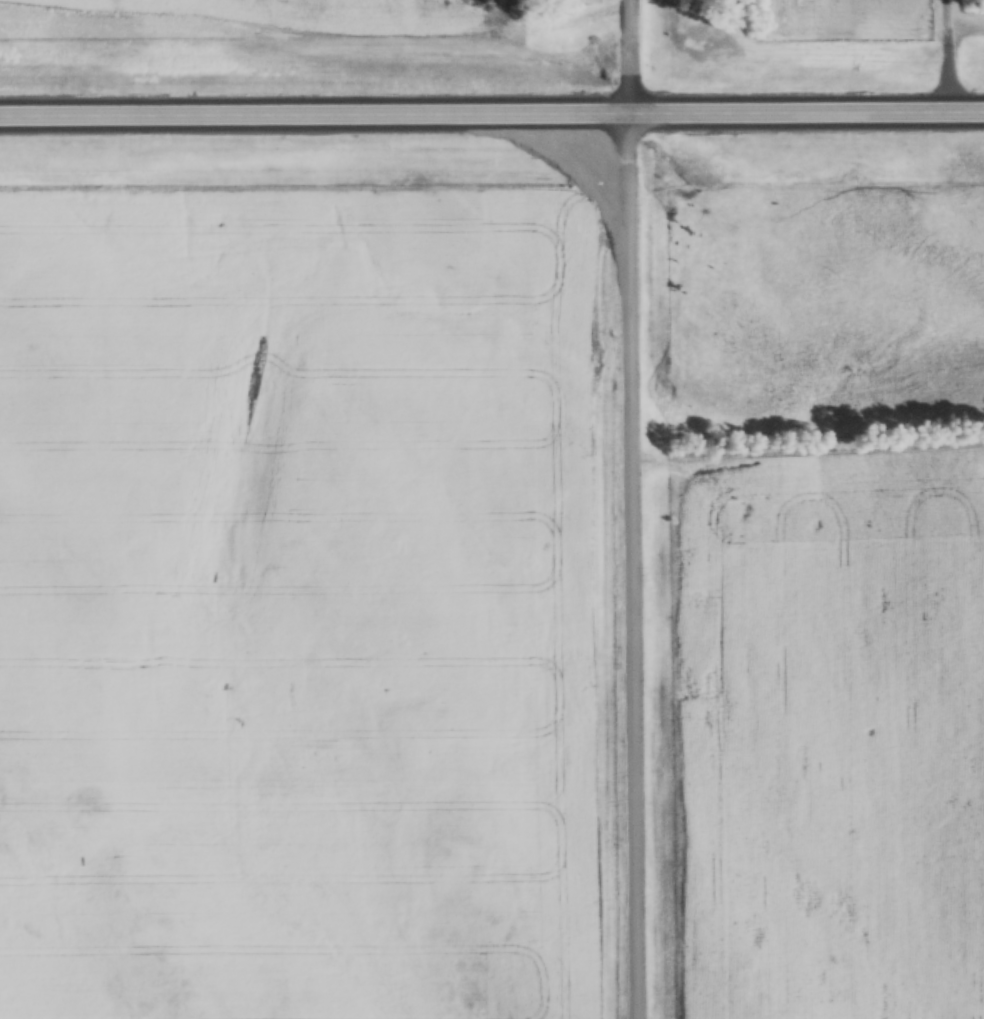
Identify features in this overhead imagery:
road: (949, 57)
road: (492, 111)
road: (631, 509)

